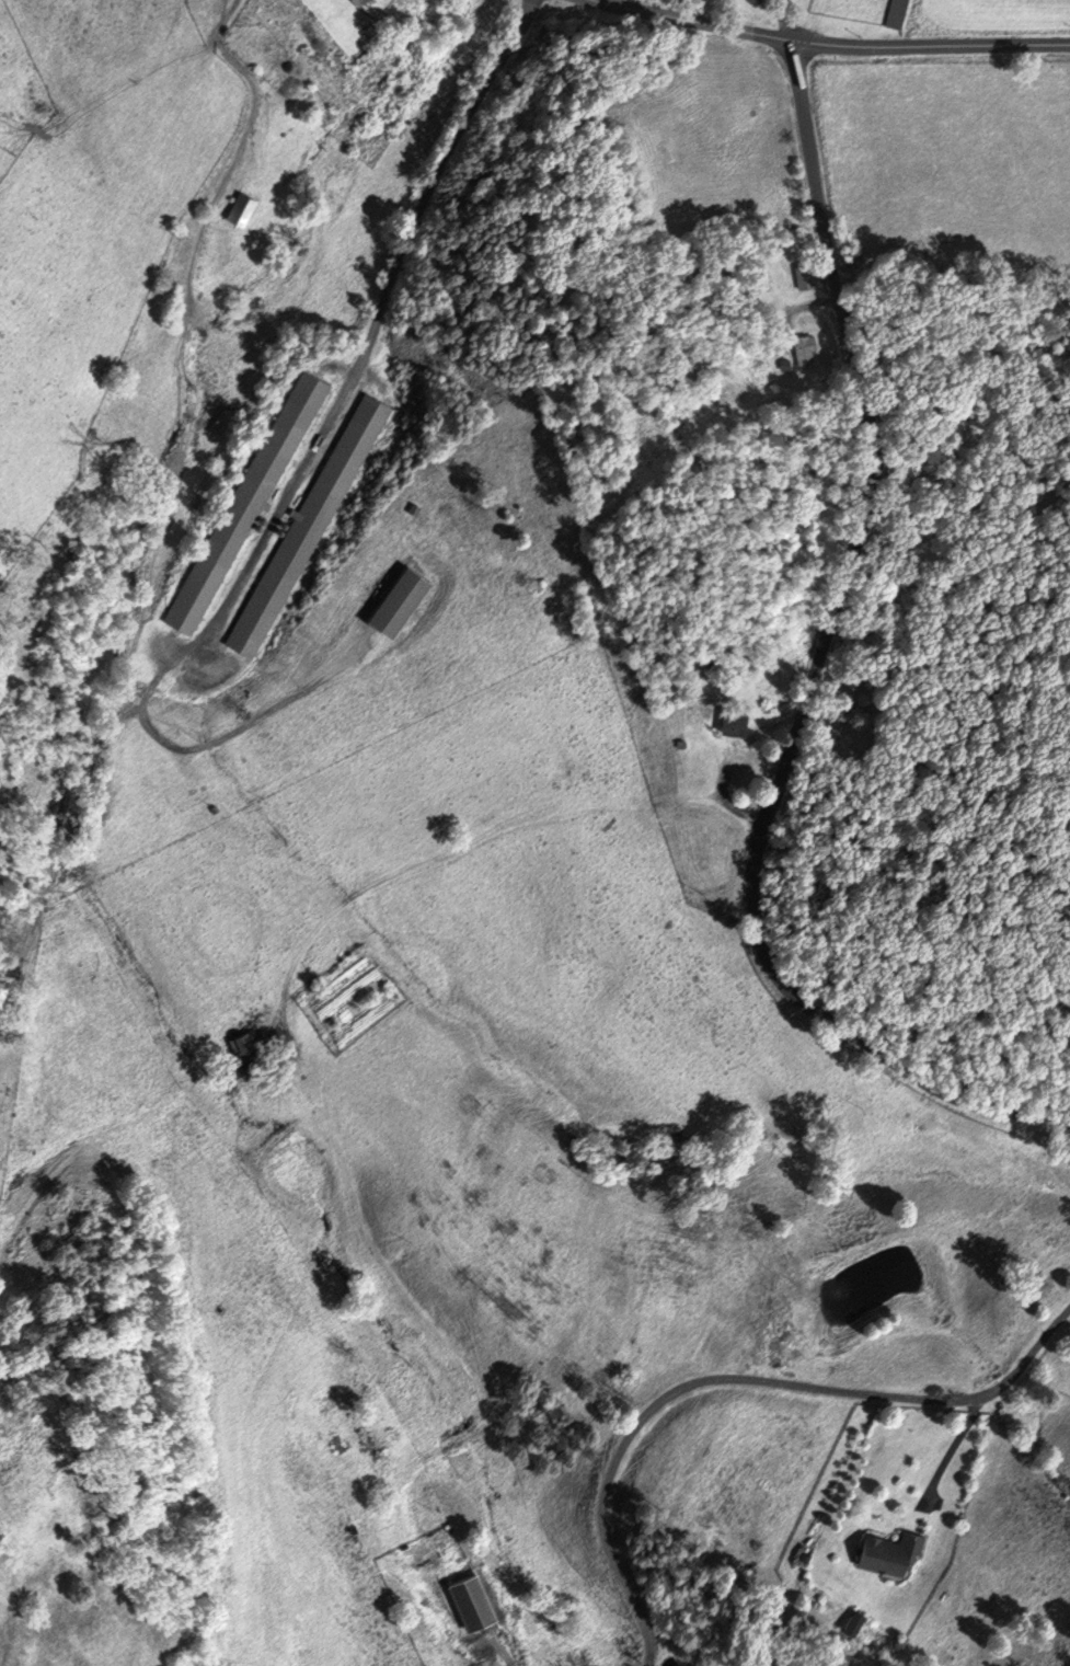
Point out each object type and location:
building: (365, 2)
building: (894, 14)
road: (780, 20)
road: (684, 24)
road: (933, 46)
road: (249, 134)
building: (242, 209)
building: (804, 277)
road: (368, 336)
building: (799, 351)
building: (225, 420)
building: (246, 502)
building: (307, 525)
building: (402, 599)
road: (815, 674)
building: (729, 724)
road: (728, 817)
building: (241, 1042)
building: (234, 1072)
road: (737, 1379)
building: (885, 1553)
building: (849, 1622)

